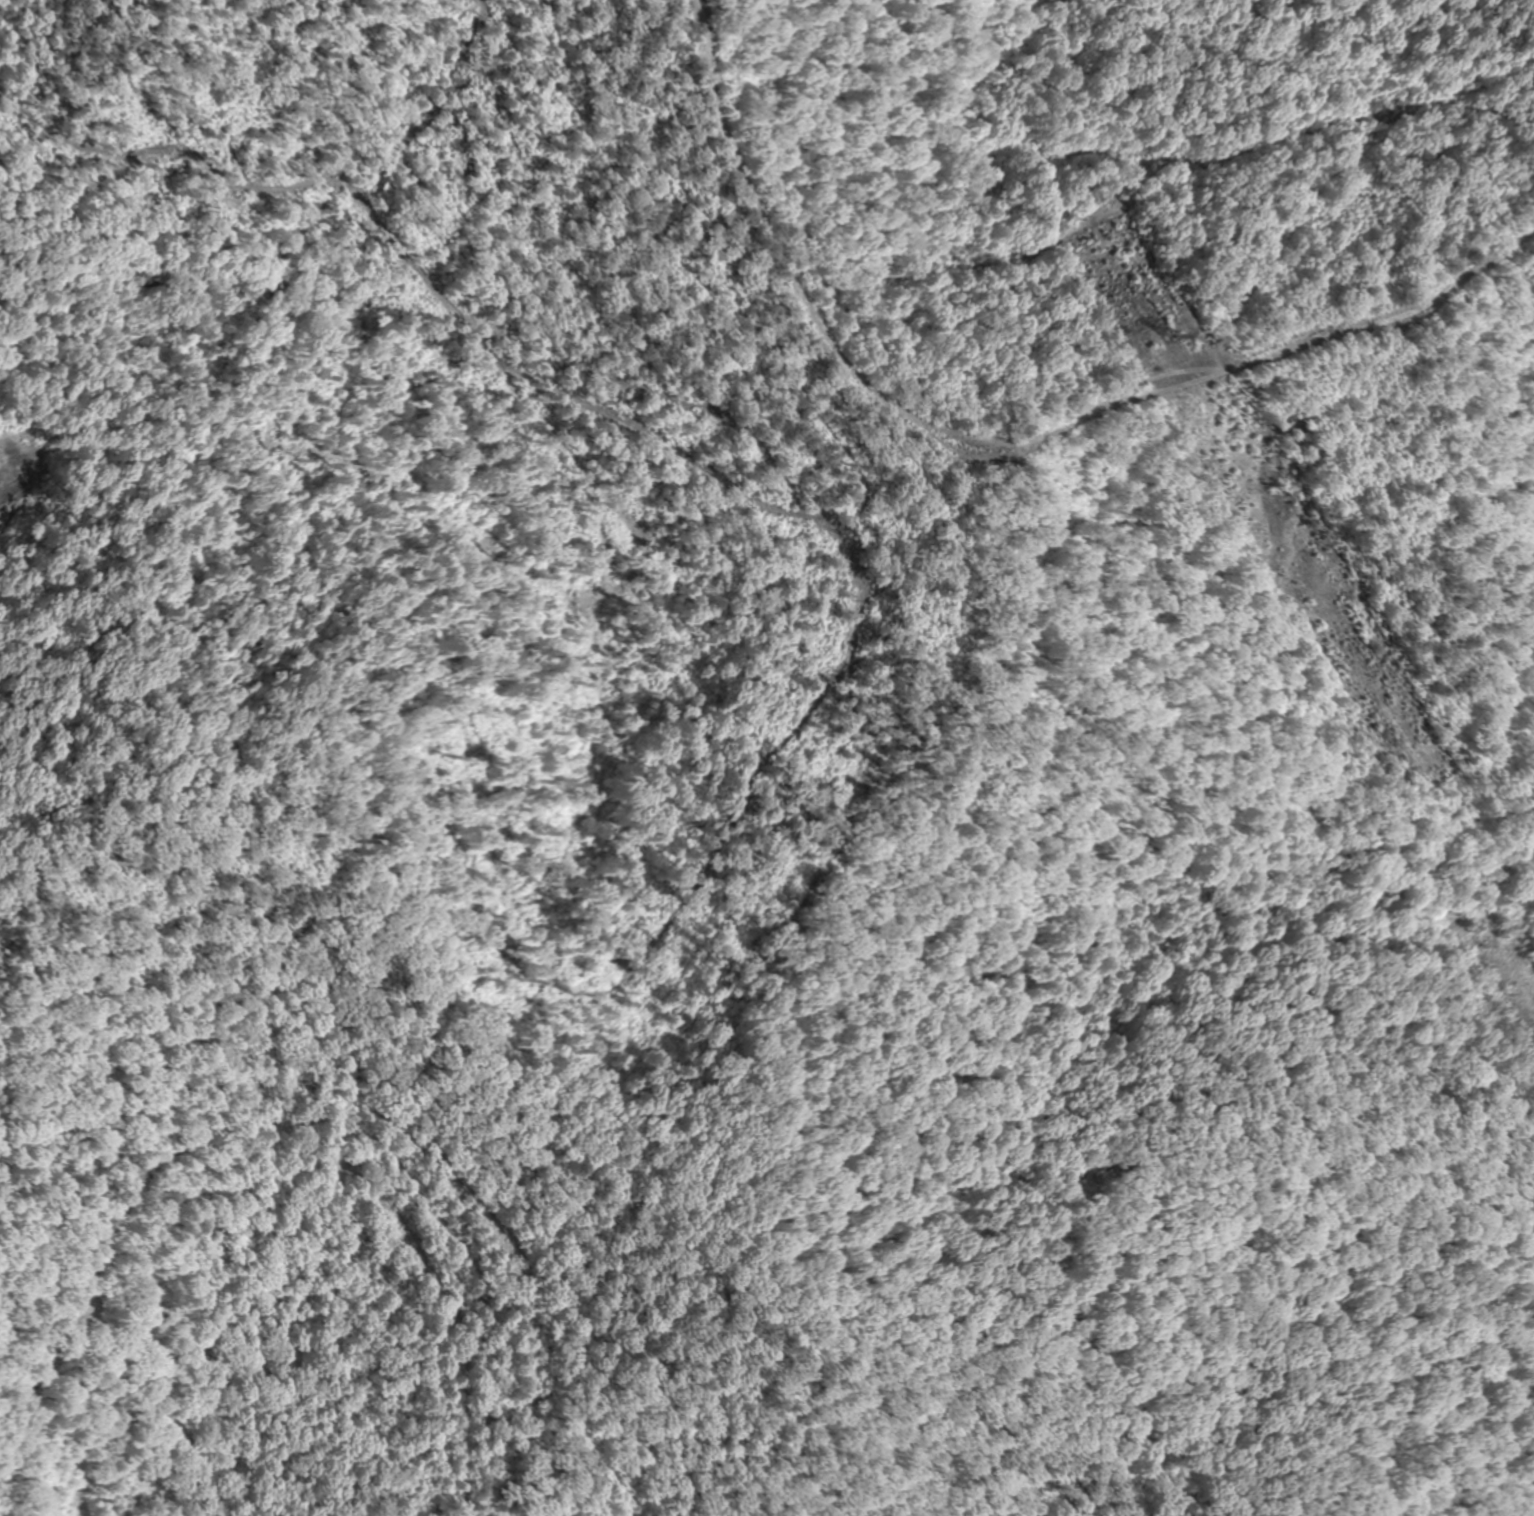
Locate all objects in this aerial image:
power tower: (1166, 337)
road: (869, 822)

